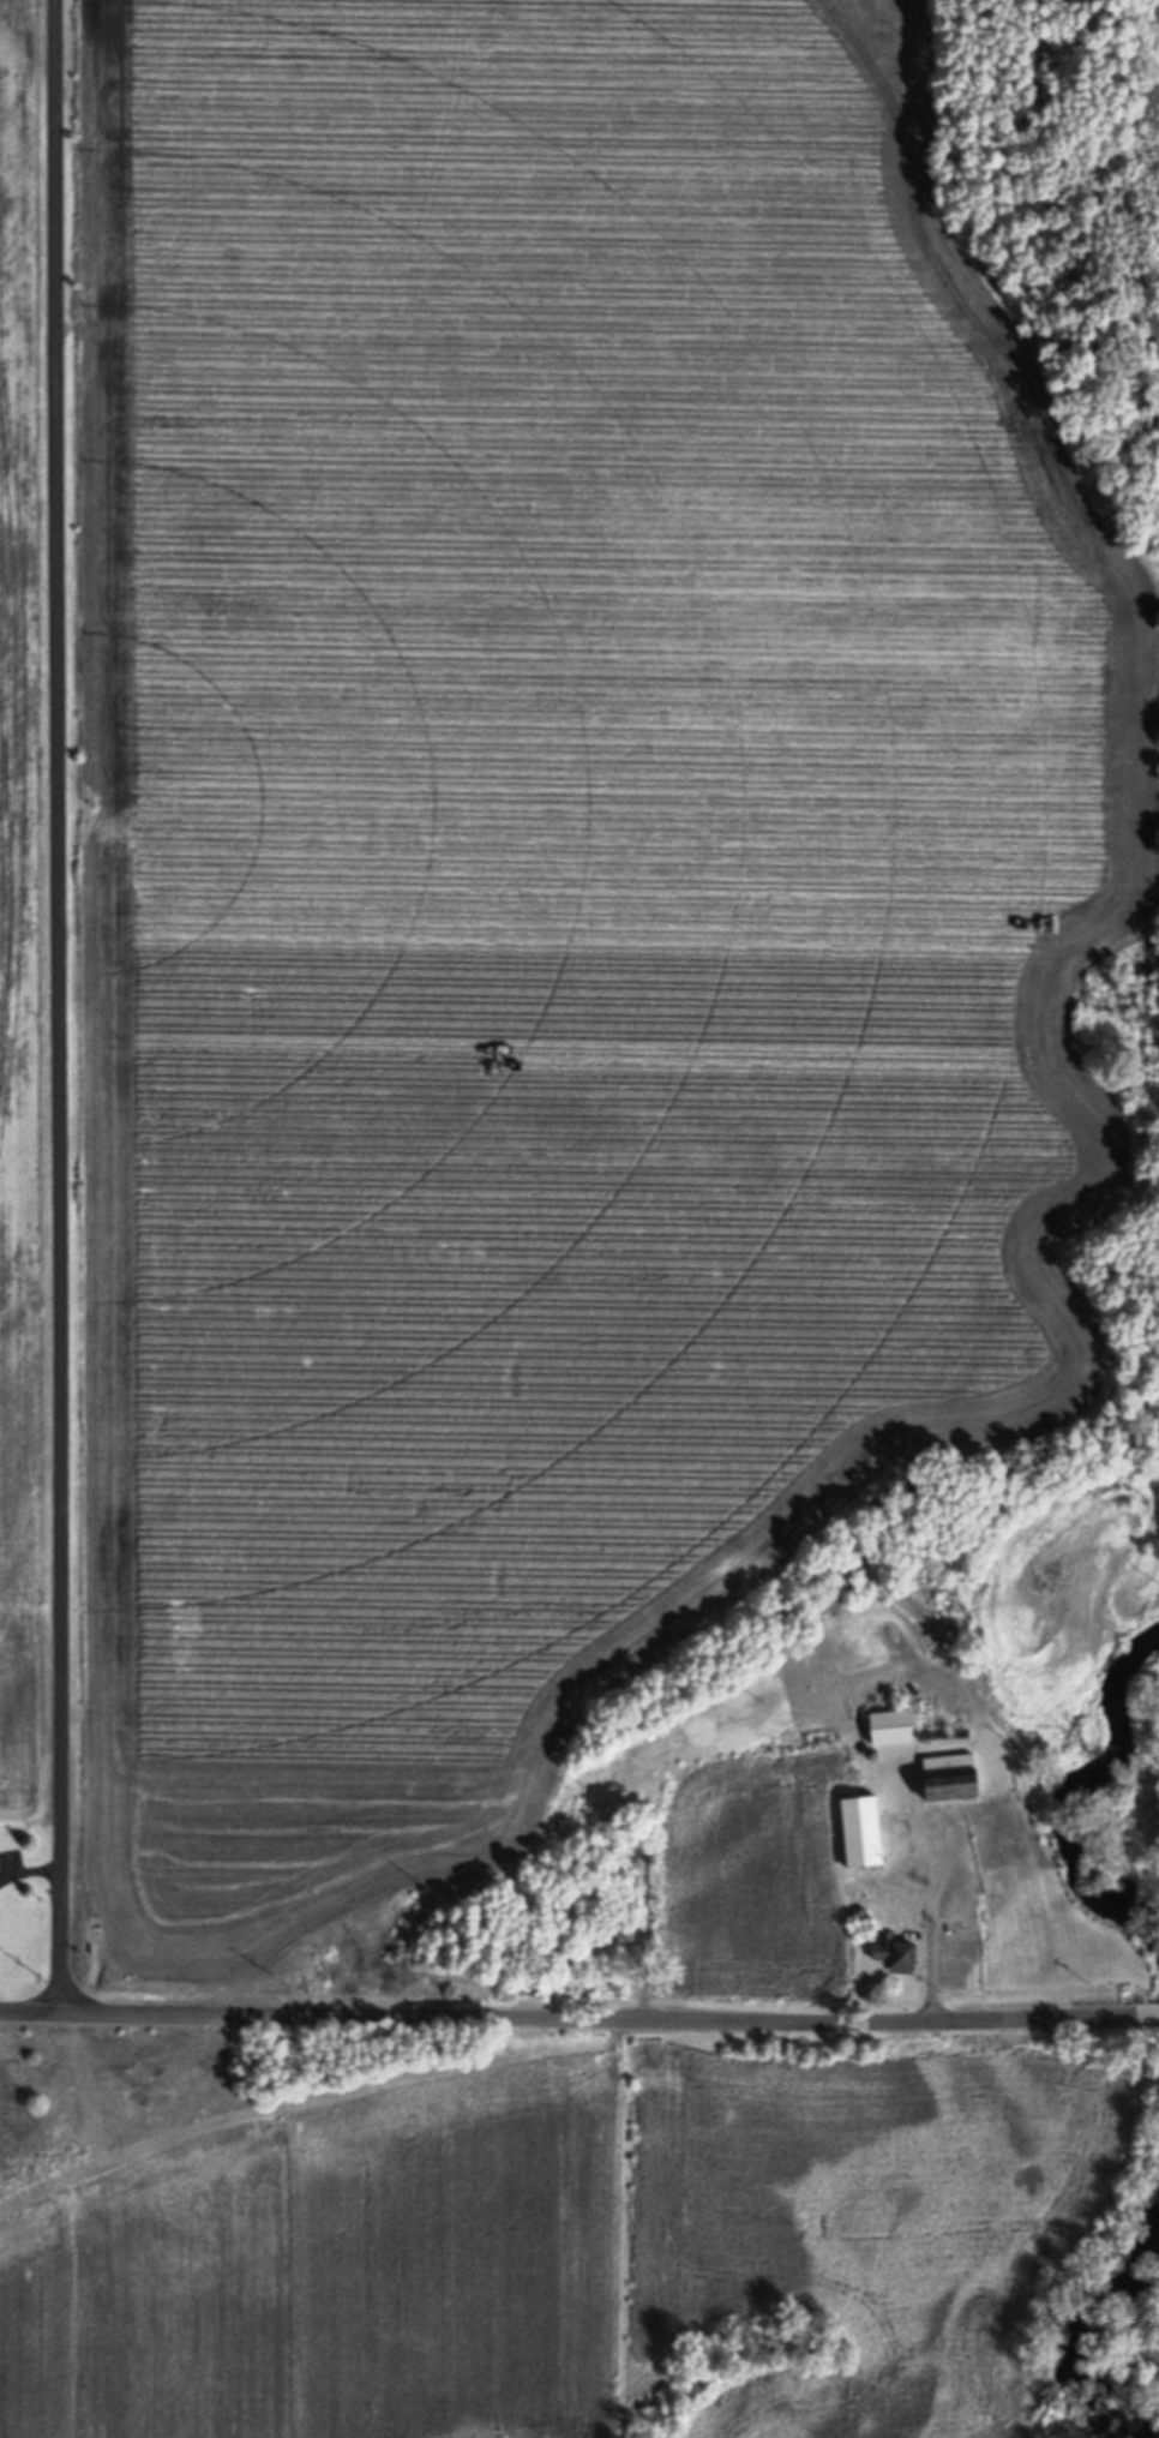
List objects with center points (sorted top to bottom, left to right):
road: (61, 1007)
building: (893, 1725)
building: (951, 1777)
building: (895, 1949)
building: (576, 1951)
road: (1149, 2012)
road: (570, 2017)

